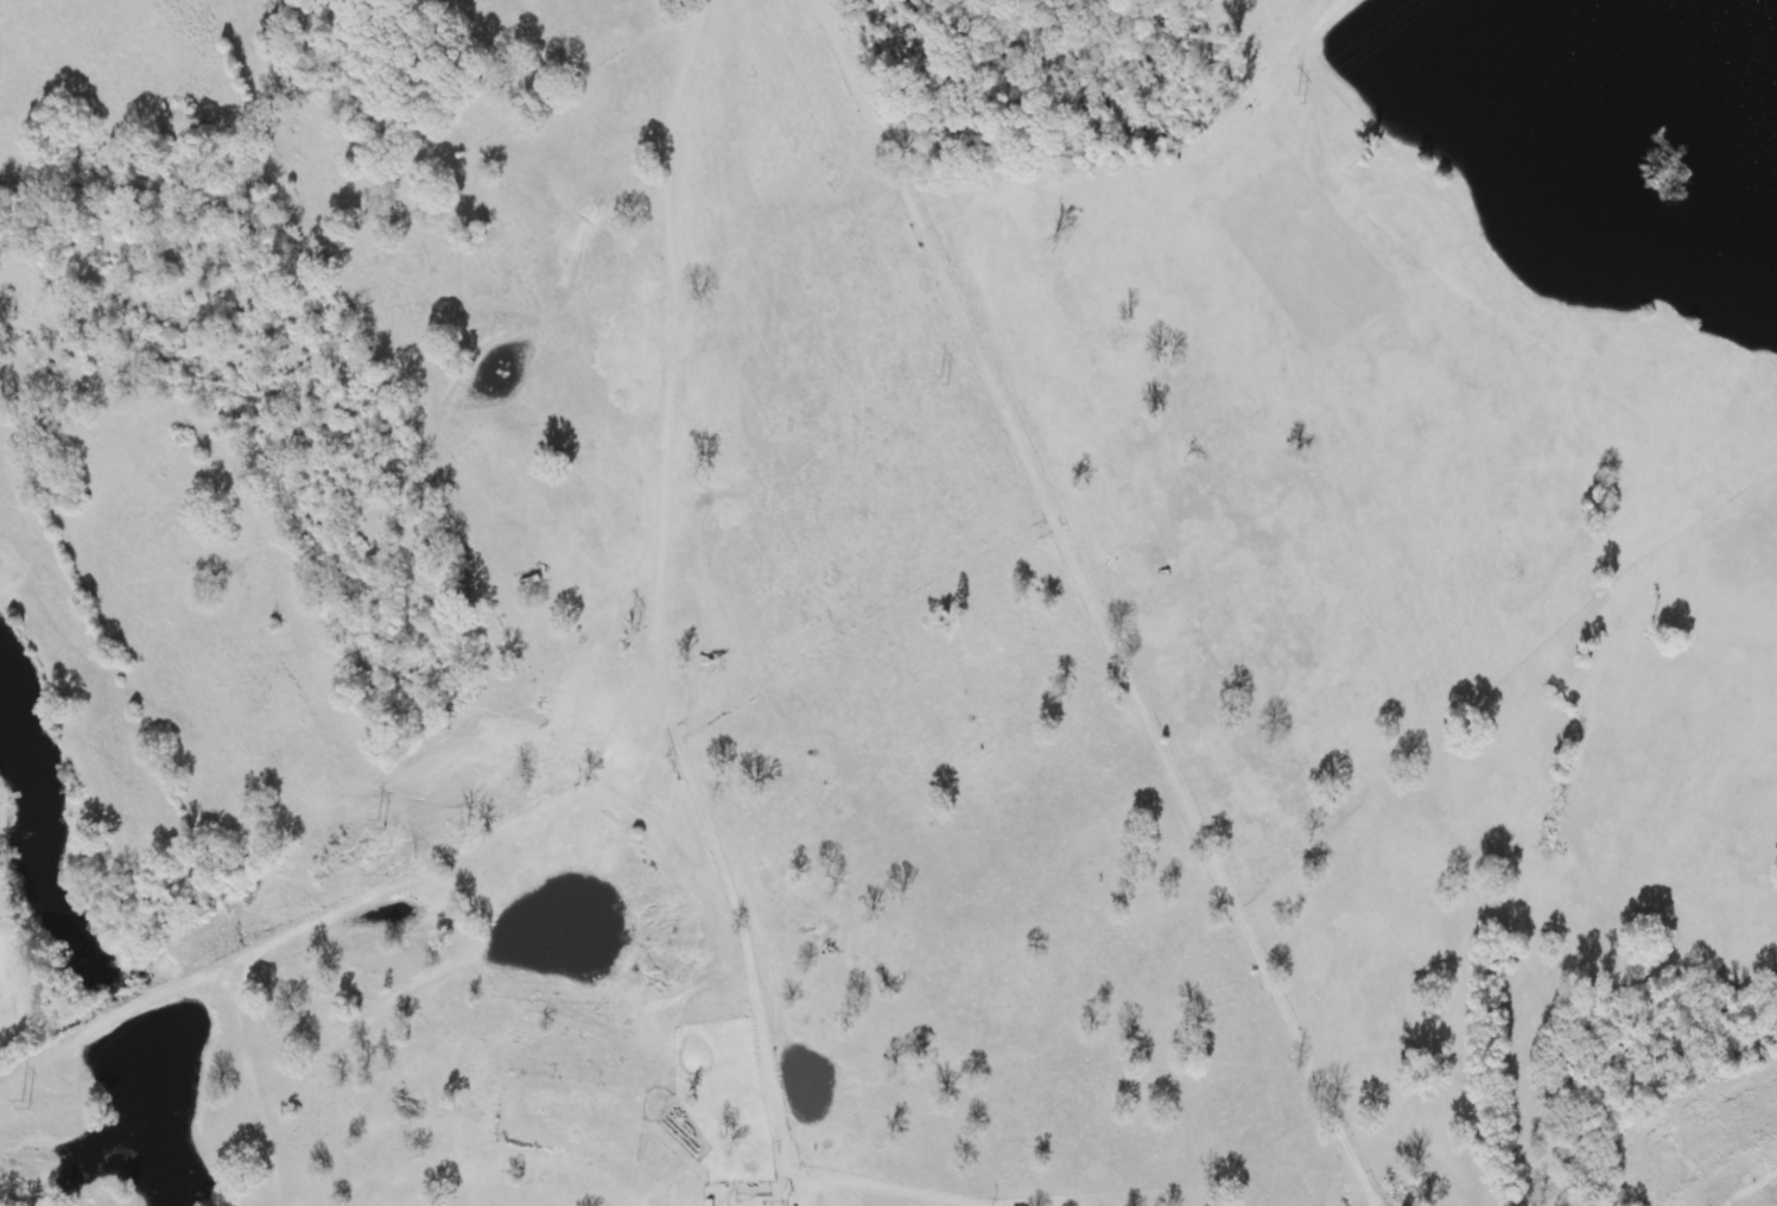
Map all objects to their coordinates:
power tower: (1287, 91)
power tower: (937, 374)
power tower: (627, 615)
power tower: (370, 815)
power tower: (23, 1097)

